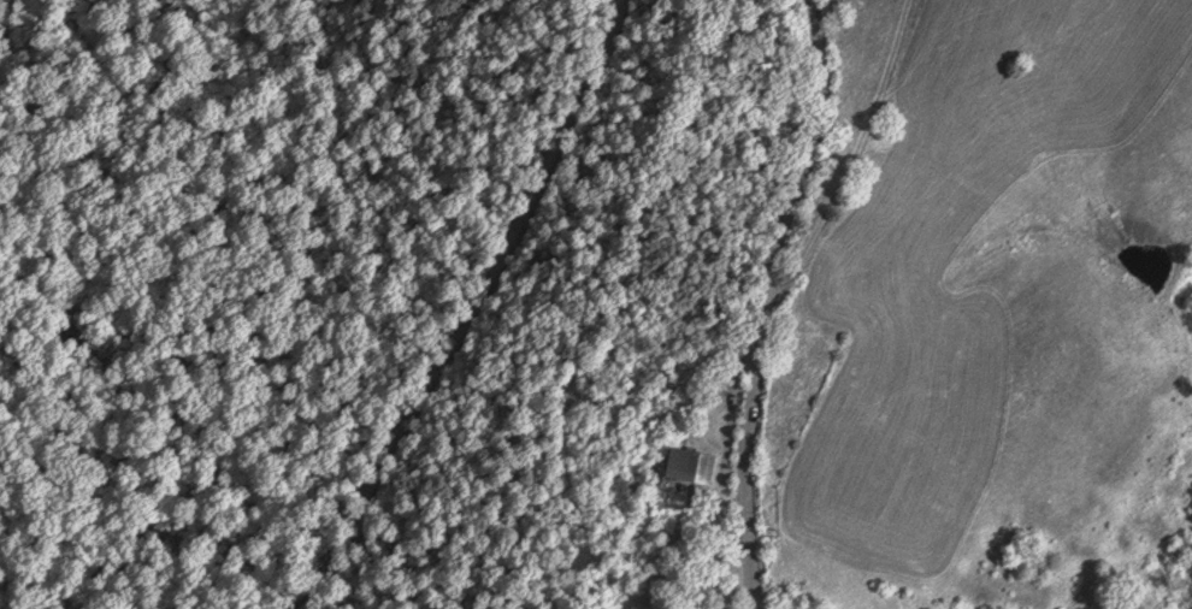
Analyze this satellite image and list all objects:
road: (772, 303)
road: (445, 304)
building: (685, 472)

